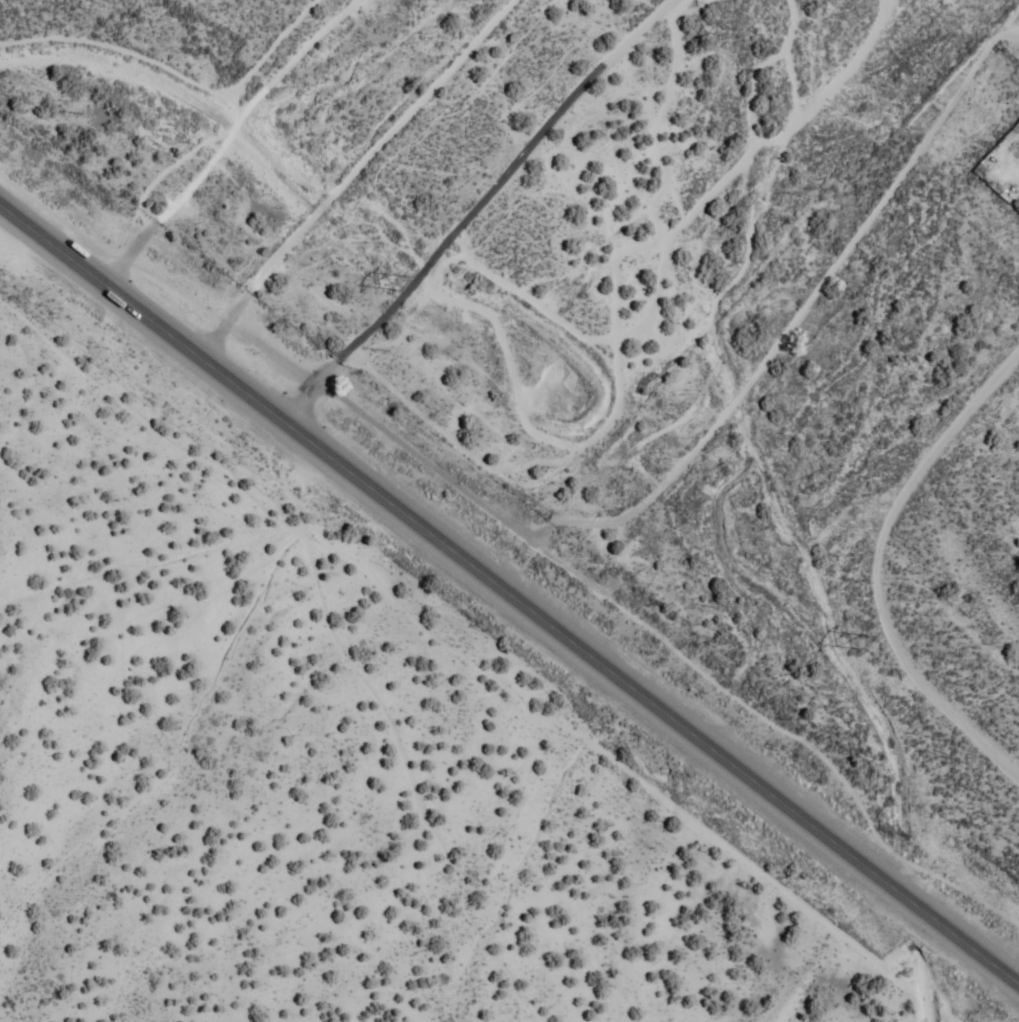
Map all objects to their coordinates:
road: (341, 46)
road: (445, 149)
road: (616, 181)
power tower: (399, 284)
road: (667, 290)
road: (773, 571)
road: (510, 593)
power tower: (860, 640)

